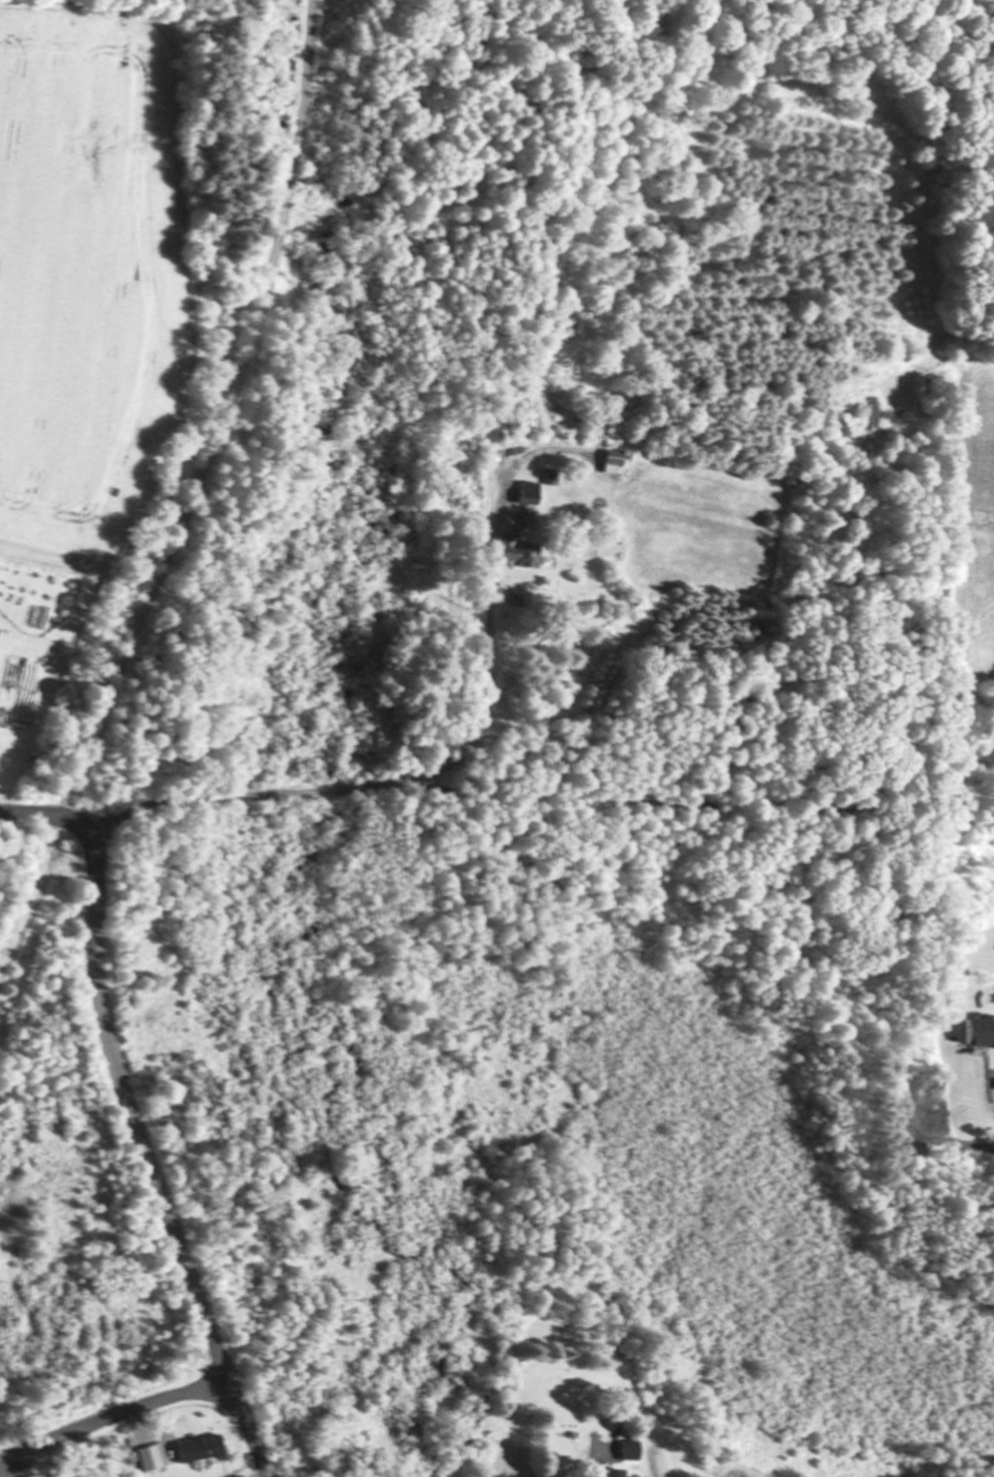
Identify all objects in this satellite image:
building: (920, 332)
building: (615, 458)
road: (188, 484)
building: (529, 493)
building: (525, 555)
road: (393, 784)
road: (49, 815)
road: (148, 1161)
road: (113, 1415)
road: (137, 1420)
building: (202, 1450)
building: (631, 1452)
building: (150, 1460)
road: (596, 1470)
road: (4, 1471)
building: (617, 1473)
building: (60, 1475)
building: (39, 1476)

